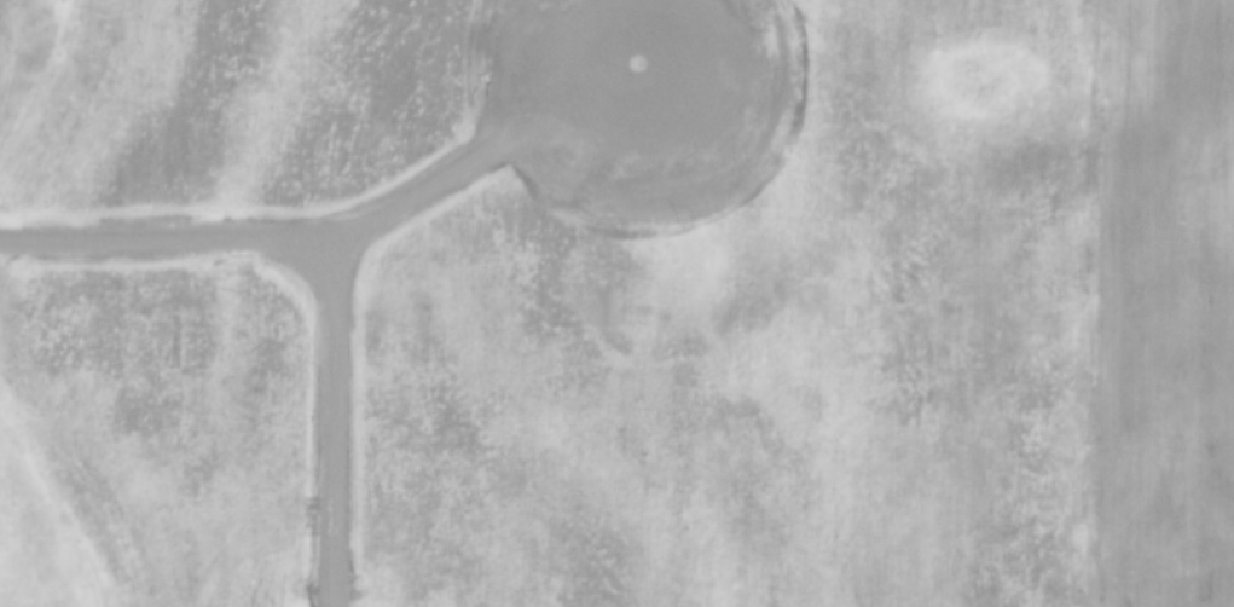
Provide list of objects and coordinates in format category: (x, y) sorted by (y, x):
wind turbine: (633, 65)
road: (1093, 302)

